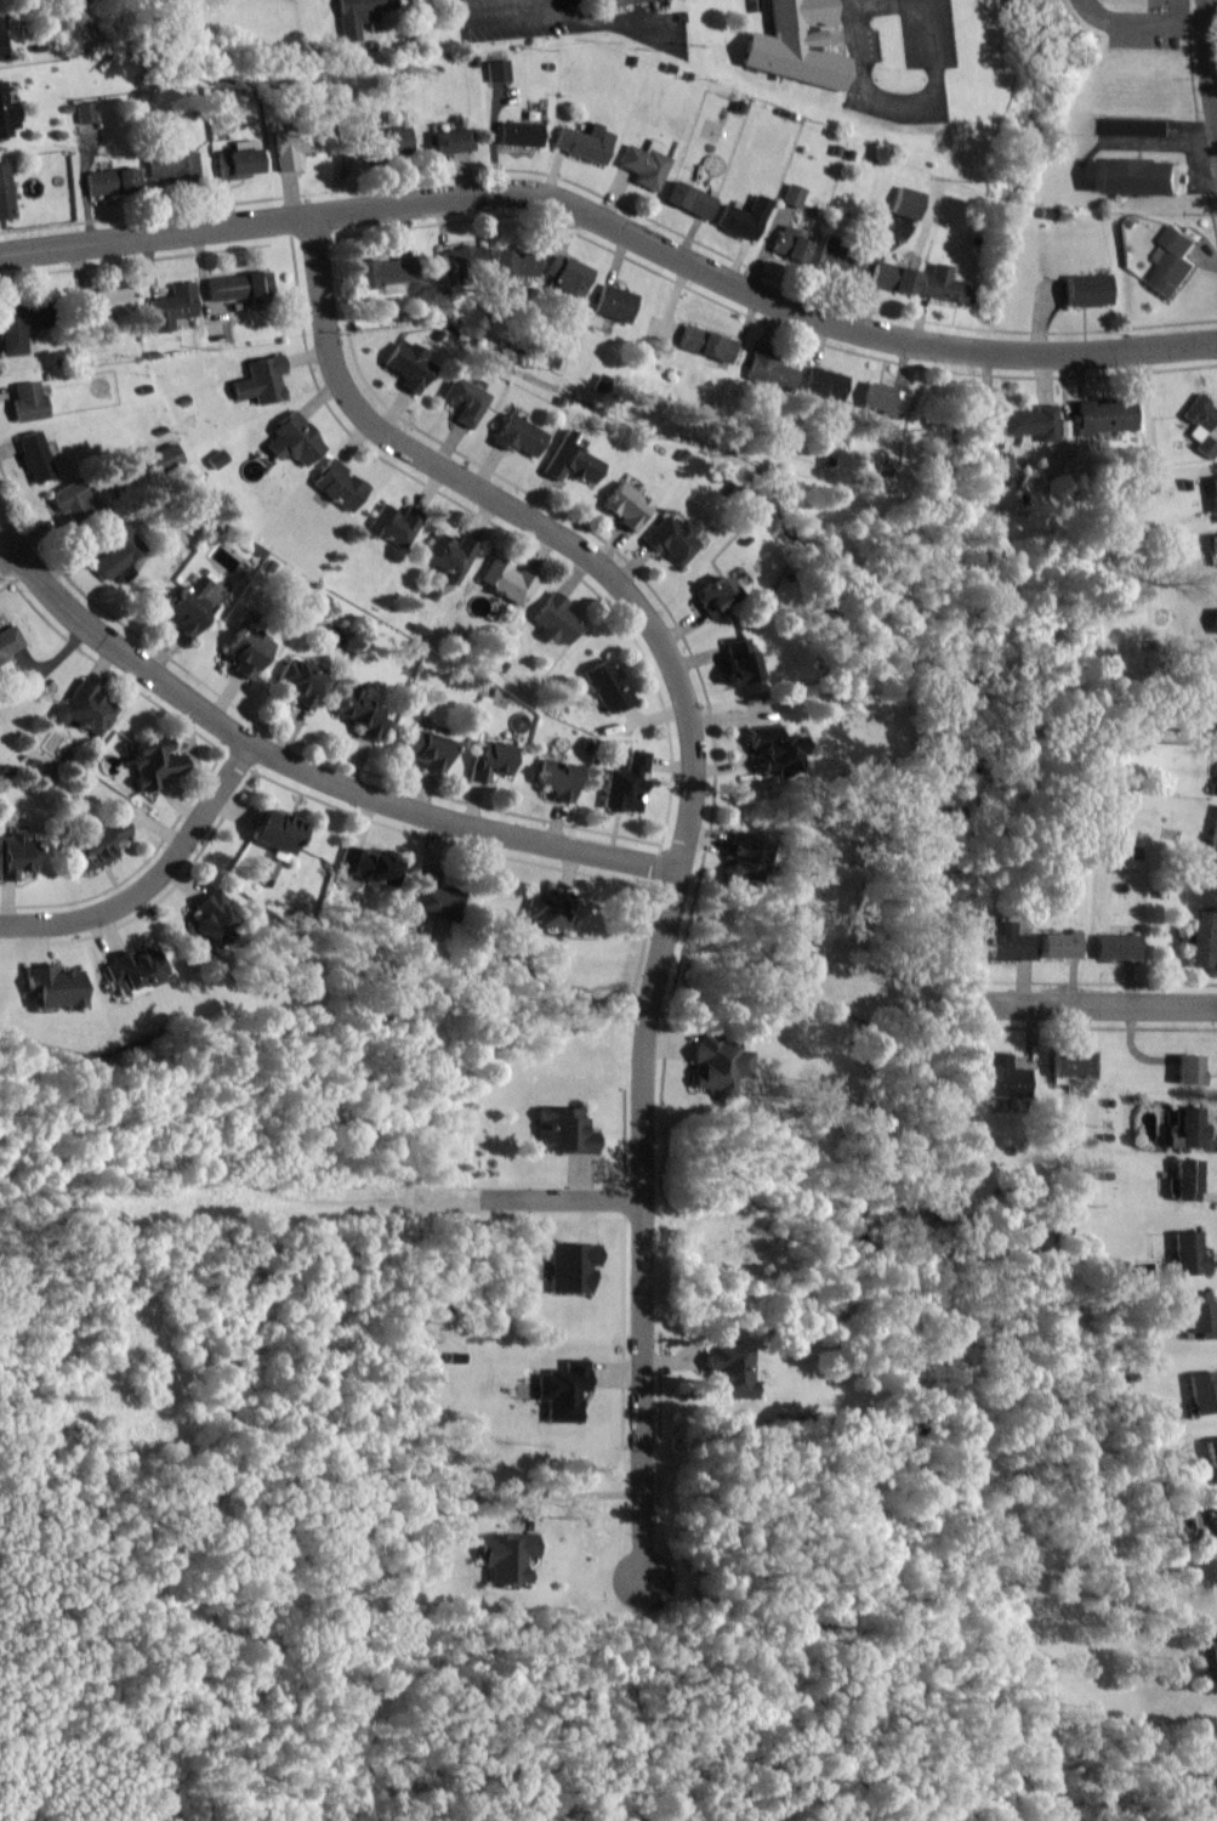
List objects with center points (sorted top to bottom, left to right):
building: (629, 1)
road: (887, 7)
road: (1176, 12)
building: (359, 15)
road: (1141, 22)
building: (1, 45)
building: (795, 45)
road: (1210, 66)
building: (496, 70)
road: (898, 106)
road: (1215, 106)
building: (85, 113)
building: (6, 117)
building: (518, 134)
building: (391, 141)
building: (449, 141)
building: (584, 143)
building: (291, 148)
building: (235, 163)
building: (646, 164)
building: (170, 165)
building: (1134, 178)
building: (109, 181)
building: (5, 192)
building: (792, 195)
building: (688, 199)
building: (906, 203)
building: (743, 217)
road: (614, 225)
building: (789, 244)
building: (840, 260)
building: (461, 261)
building: (514, 262)
building: (1170, 262)
building: (386, 271)
building: (567, 274)
building: (893, 277)
building: (239, 285)
building: (943, 285)
building: (1088, 290)
building: (99, 301)
building: (614, 303)
building: (171, 306)
building: (705, 344)
building: (408, 365)
building: (769, 373)
building: (260, 380)
building: (824, 384)
building: (885, 399)
building: (462, 401)
building: (27, 402)
building: (1105, 415)
building: (1031, 422)
building: (1201, 425)
building: (517, 433)
building: (292, 439)
building: (34, 458)
building: (570, 464)
building: (1003, 465)
building: (337, 486)
building: (1211, 493)
building: (69, 501)
building: (625, 505)
building: (393, 524)
building: (671, 539)
building: (1212, 543)
building: (115, 548)
building: (449, 556)
road: (12, 566)
building: (505, 580)
building: (715, 596)
building: (194, 601)
building: (555, 620)
building: (1215, 620)
building: (8, 642)
building: (245, 651)
building: (738, 663)
building: (297, 682)
building: (607, 686)
building: (85, 709)
building: (359, 714)
building: (426, 749)
building: (770, 751)
road: (303, 759)
building: (490, 760)
building: (152, 765)
building: (556, 778)
building: (625, 784)
road: (683, 807)
building: (273, 832)
building: (1213, 832)
building: (96, 843)
building: (15, 856)
building: (741, 857)
road: (155, 880)
building: (430, 897)
building: (548, 909)
building: (205, 923)
building: (1204, 937)
building: (1007, 943)
building: (1060, 946)
building: (1119, 947)
building: (132, 971)
building: (51, 988)
road: (1092, 991)
building: (716, 1065)
building: (1073, 1066)
building: (1189, 1070)
building: (1005, 1078)
building: (1187, 1129)
building: (562, 1131)
building: (1187, 1181)
building: (1189, 1255)
building: (570, 1269)
building: (1201, 1315)
building: (726, 1371)
building: (562, 1391)
building: (1202, 1392)
building: (1212, 1459)
building: (505, 1559)
building: (1212, 1655)

